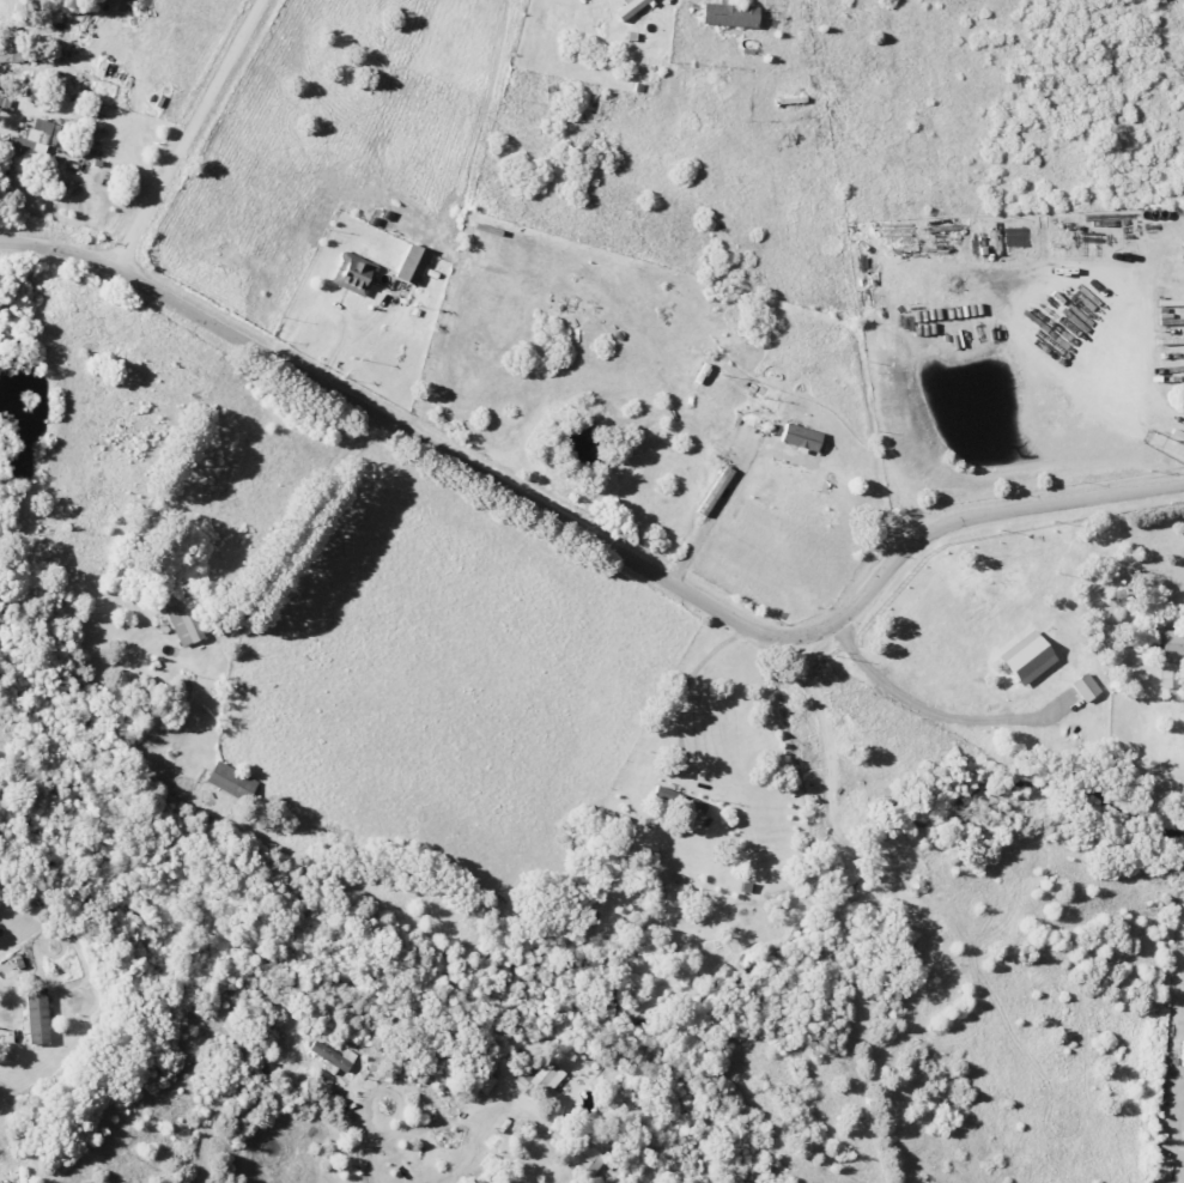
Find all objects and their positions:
building: (629, 8)
building: (728, 14)
road: (189, 135)
building: (37, 138)
building: (411, 265)
building: (353, 274)
building: (800, 437)
road: (715, 511)
road: (299, 522)
road: (590, 535)
building: (180, 617)
building: (1171, 645)
building: (1024, 659)
building: (1168, 679)
building: (1085, 687)
road: (684, 688)
road: (939, 714)
building: (230, 781)
building: (678, 801)
building: (35, 1015)
building: (333, 1055)
road: (370, 1135)
building: (581, 1151)
road: (455, 1164)

